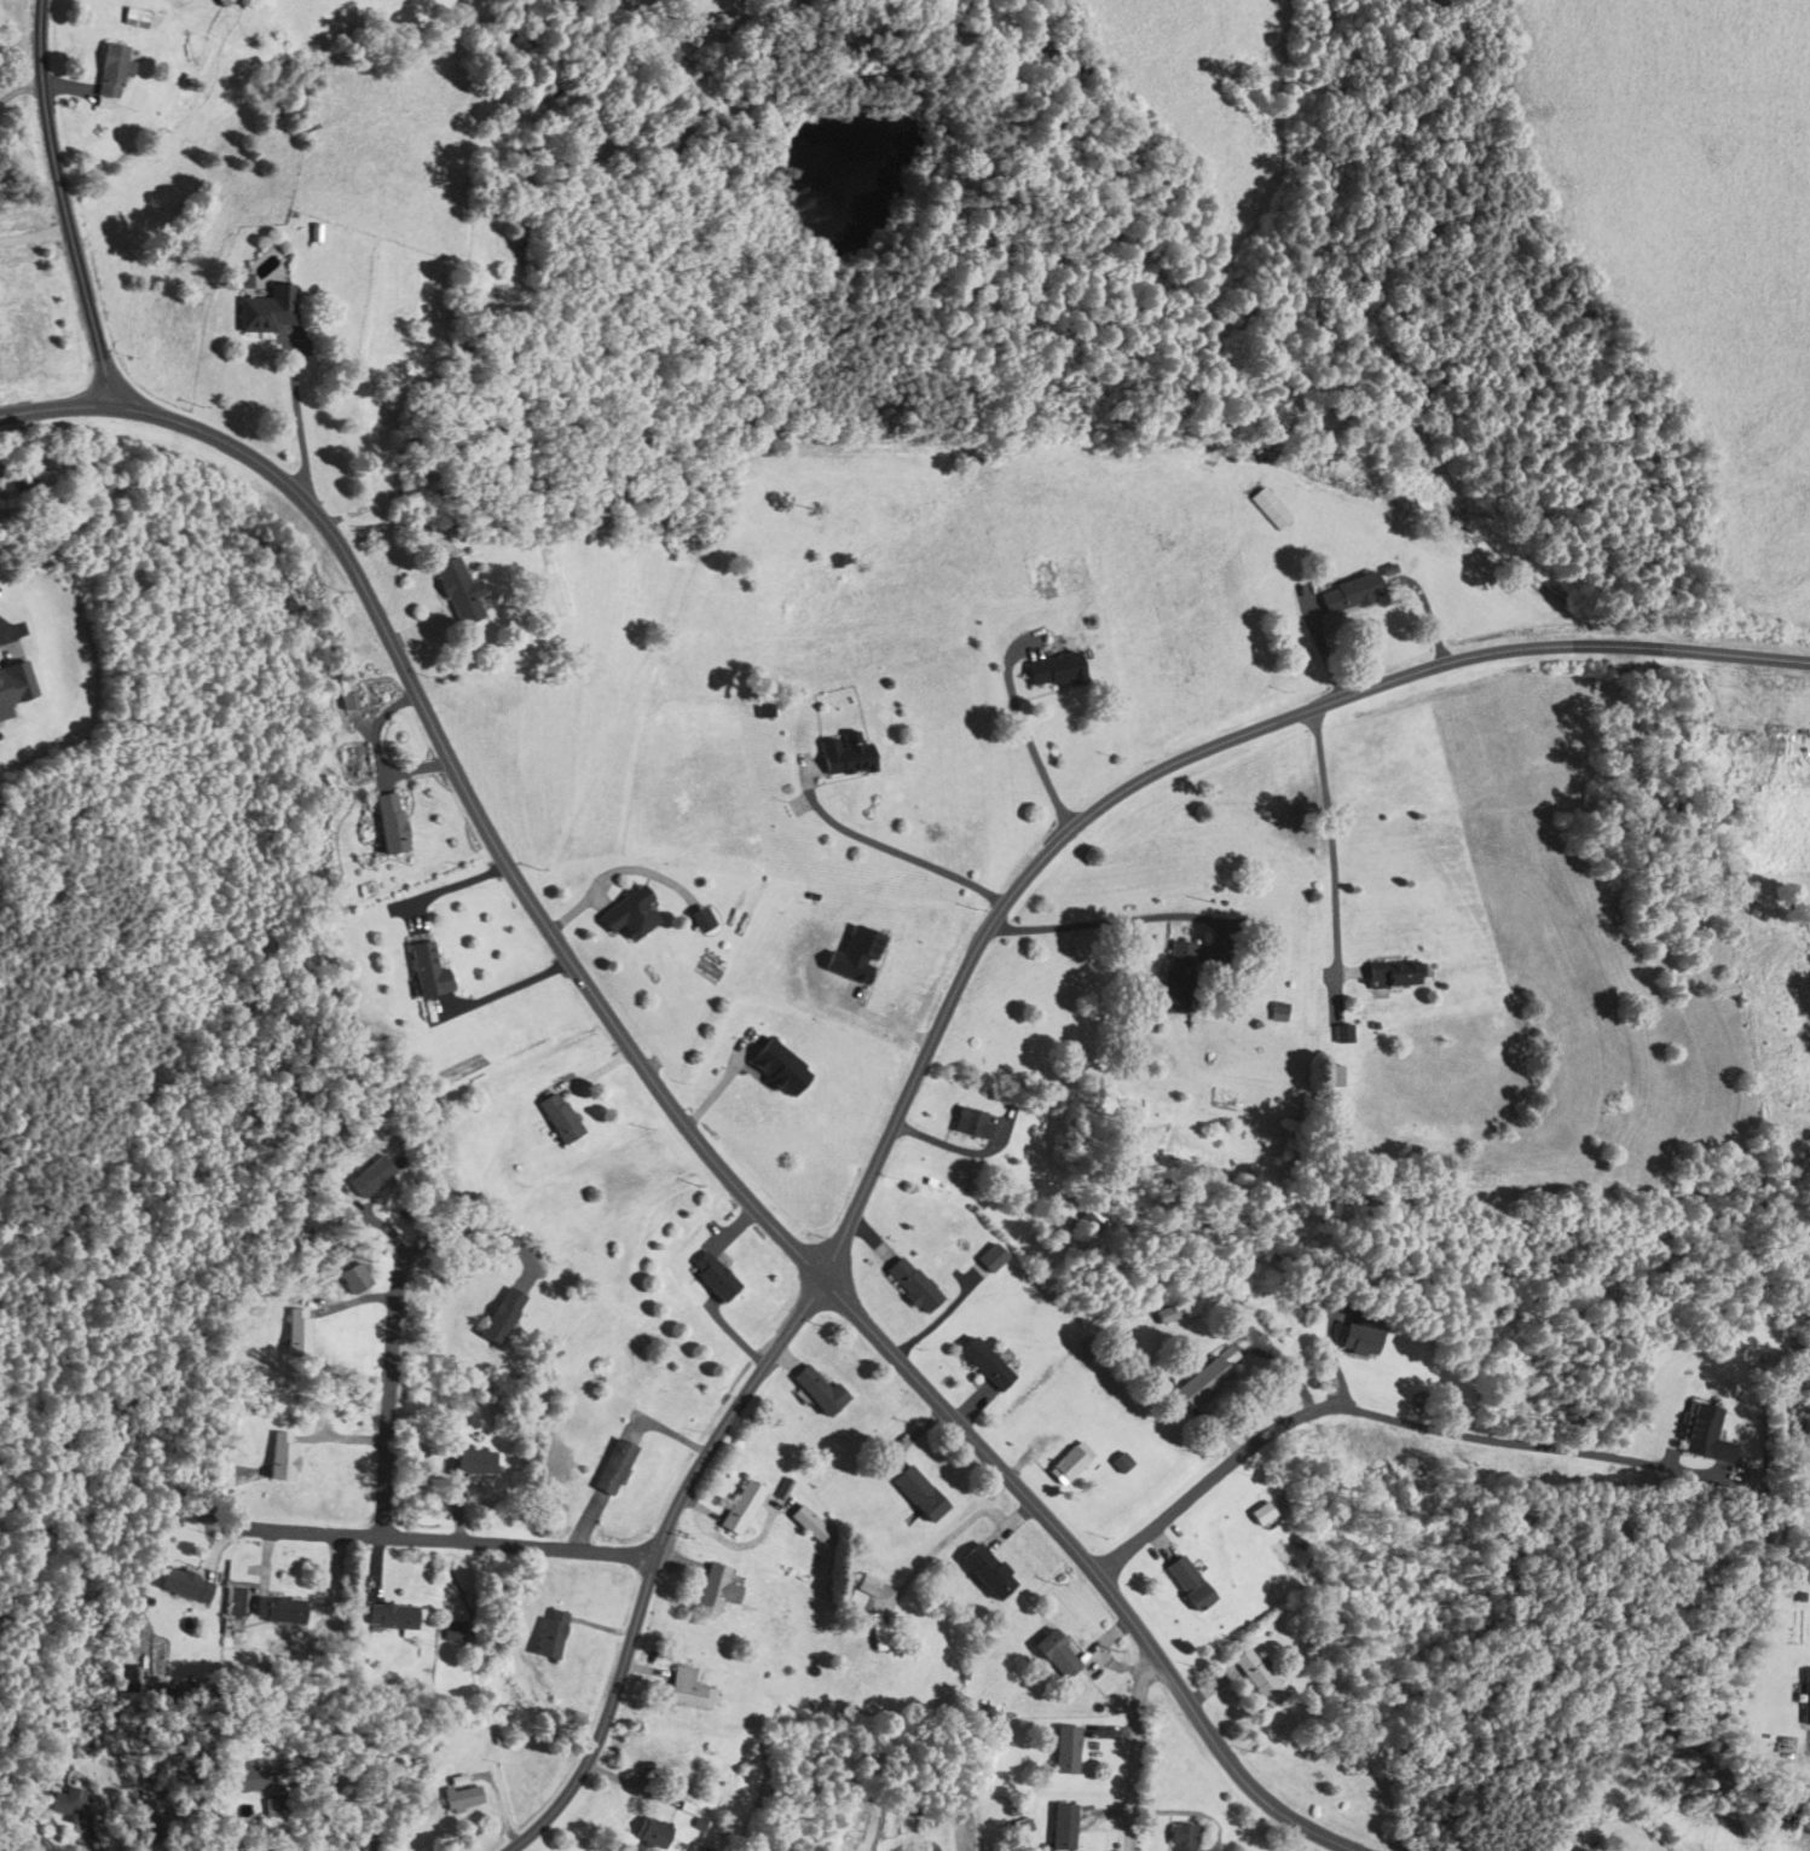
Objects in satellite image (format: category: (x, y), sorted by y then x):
building: (220, 2)
building: (135, 18)
building: (110, 74)
road: (21, 88)
road: (64, 203)
road: (35, 238)
building: (267, 311)
road: (296, 420)
building: (1268, 507)
building: (455, 592)
building: (1351, 595)
building: (1053, 671)
building: (13, 687)
road: (1027, 733)
building: (844, 756)
building: (1787, 760)
building: (388, 825)
road: (1330, 841)
road: (886, 848)
building: (628, 915)
road: (1118, 919)
building: (700, 920)
building: (426, 972)
building: (1396, 974)
building: (1178, 978)
road: (955, 991)
building: (1342, 1036)
building: (777, 1069)
building: (1332, 1077)
road: (664, 1097)
building: (559, 1118)
building: (968, 1123)
building: (371, 1172)
road: (487, 1231)
building: (990, 1259)
building: (357, 1277)
building: (712, 1278)
building: (910, 1286)
building: (1175, 1313)
building: (501, 1317)
building: (296, 1334)
building: (1359, 1342)
building: (984, 1365)
building: (1207, 1378)
road: (388, 1383)
building: (819, 1392)
road: (1386, 1416)
building: (1706, 1436)
building: (281, 1457)
building: (474, 1463)
building: (1069, 1463)
building: (613, 1469)
building: (918, 1494)
road: (1375, 1503)
building: (740, 1508)
building: (1261, 1514)
building: (810, 1523)
road: (439, 1539)
building: (987, 1573)
building: (1187, 1584)
building: (184, 1586)
building: (715, 1590)
building: (862, 1591)
building: (277, 1612)
building: (391, 1618)
building: (453, 1633)
building: (549, 1636)
building: (1056, 1658)
building: (1257, 1679)
building: (687, 1691)
building: (1806, 1699)
building: (1065, 1752)
road: (1135, 1752)
road: (362, 1775)
building: (254, 1781)
building: (69, 1798)
building: (462, 1799)
building: (1062, 1828)
building: (650, 1835)
building: (1180, 1838)
building: (1581, 1850)

